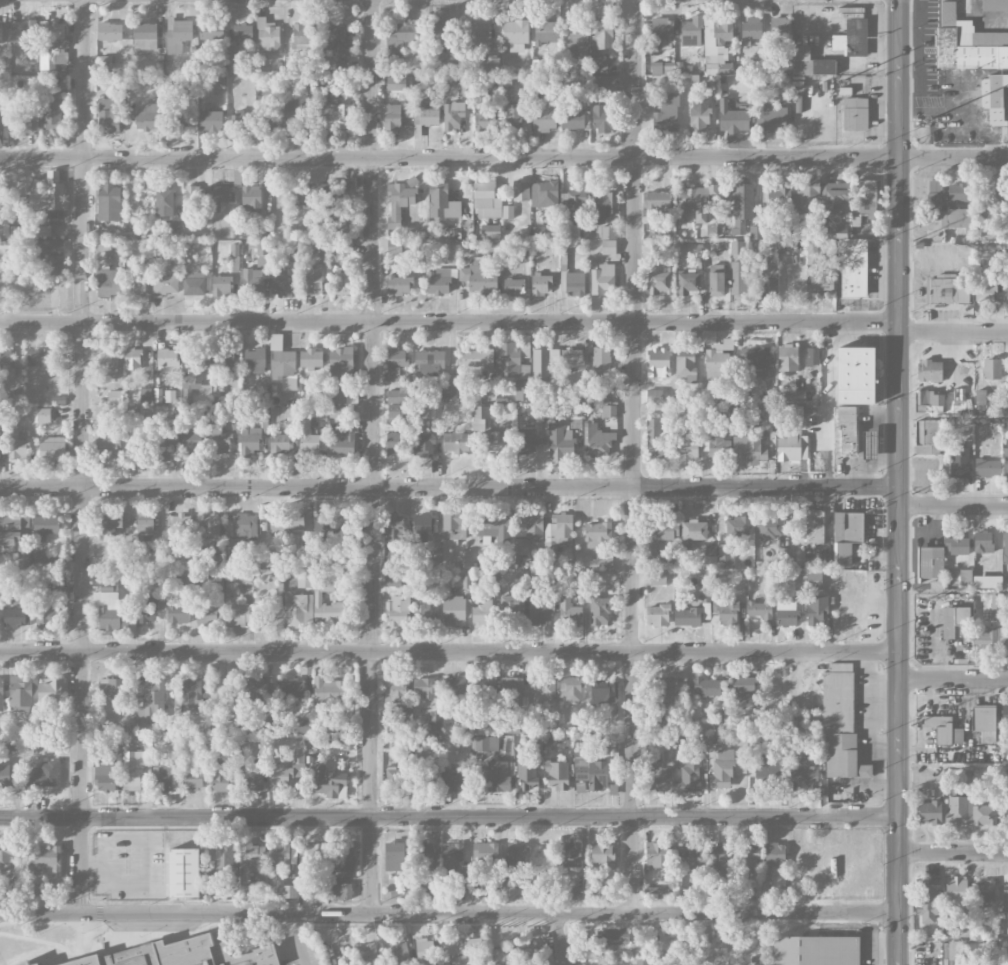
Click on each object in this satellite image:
building: (995, 6)
building: (545, 26)
building: (780, 27)
building: (211, 30)
building: (751, 30)
building: (0, 31)
building: (109, 31)
building: (242, 32)
building: (691, 32)
building: (479, 33)
building: (661, 33)
building: (178, 34)
building: (515, 34)
building: (602, 35)
building: (21, 36)
building: (144, 36)
building: (267, 36)
building: (302, 36)
building: (332, 37)
building: (442, 37)
building: (852, 38)
building: (400, 39)
building: (578, 39)
building: (967, 43)
building: (53, 45)
building: (718, 46)
building: (800, 53)
building: (4, 63)
building: (104, 64)
building: (490, 64)
building: (600, 64)
building: (538, 66)
building: (823, 67)
building: (662, 68)
building: (396, 84)
building: (606, 86)
building: (993, 97)
building: (109, 113)
building: (283, 113)
building: (545, 114)
building: (666, 114)
building: (855, 114)
building: (52, 115)
building: (452, 115)
building: (0, 116)
building: (334, 116)
building: (514, 116)
building: (145, 117)
building: (773, 117)
building: (392, 118)
building: (424, 118)
building: (180, 119)
building: (572, 119)
building: (602, 119)
building: (698, 119)
building: (29, 120)
building: (243, 120)
building: (210, 121)
building: (734, 121)
building: (484, 122)
road: (504, 156)
building: (958, 189)
building: (520, 191)
building: (805, 192)
building: (48, 194)
building: (223, 194)
building: (544, 194)
building: (314, 195)
building: (1001, 195)
building: (195, 196)
building: (0, 197)
building: (250, 198)
building: (778, 198)
building: (837, 199)
building: (696, 200)
building: (485, 201)
building: (163, 202)
building: (398, 202)
building: (442, 202)
building: (656, 202)
building: (108, 203)
building: (603, 206)
building: (742, 207)
building: (572, 210)
building: (507, 212)
building: (957, 219)
building: (344, 225)
building: (40, 231)
building: (489, 231)
building: (783, 231)
building: (540, 232)
building: (608, 232)
building: (755, 233)
power tower: (912, 241)
building: (9, 245)
road: (954, 246)
building: (394, 247)
building: (608, 247)
building: (737, 247)
building: (234, 250)
building: (50, 256)
building: (262, 257)
building: (715, 268)
building: (853, 268)
building: (478, 276)
building: (313, 279)
building: (602, 279)
building: (439, 280)
building: (107, 281)
building: (252, 281)
building: (280, 282)
building: (659, 282)
building: (769, 282)
building: (821, 282)
building: (1006, 282)
building: (194, 283)
building: (687, 283)
building: (343, 284)
building: (540, 284)
building: (574, 284)
building: (716, 284)
building: (137, 285)
building: (165, 285)
building: (399, 285)
building: (221, 286)
building: (513, 287)
building: (738, 287)
building: (945, 290)
building: (985, 290)
road: (449, 321)
road: (953, 333)
building: (511, 356)
building: (812, 356)
building: (38, 357)
building: (167, 357)
building: (476, 357)
building: (571, 357)
building: (788, 358)
building: (132, 359)
building: (281, 359)
building: (310, 359)
building: (255, 360)
building: (222, 361)
building: (543, 361)
building: (601, 361)
building: (717, 361)
building: (6, 362)
building: (757, 362)
building: (395, 363)
building: (429, 363)
building: (658, 363)
building: (108, 364)
building: (341, 367)
building: (686, 369)
building: (991, 369)
building: (929, 371)
building: (195, 372)
building: (524, 372)
building: (855, 375)
building: (449, 389)
building: (522, 390)
building: (145, 395)
building: (340, 395)
building: (959, 395)
building: (187, 396)
building: (393, 396)
building: (608, 396)
building: (653, 396)
building: (795, 396)
building: (15, 397)
building: (985, 401)
building: (928, 402)
building: (1006, 407)
building: (335, 411)
building: (608, 411)
building: (431, 412)
building: (538, 412)
building: (103, 414)
building: (397, 414)
building: (797, 414)
building: (204, 416)
building: (482, 416)
building: (575, 416)
building: (43, 417)
building: (292, 417)
road: (953, 419)
building: (707, 426)
building: (847, 429)
building: (927, 437)
building: (308, 439)
building: (655, 439)
building: (191, 440)
building: (597, 440)
building: (220, 441)
building: (278, 441)
building: (494, 441)
building: (526, 441)
building: (249, 442)
building: (455, 442)
building: (393, 443)
building: (342, 444)
building: (561, 444)
building: (17, 445)
building: (167, 446)
building: (423, 446)
building: (689, 446)
building: (719, 446)
building: (870, 446)
building: (792, 448)
building: (51, 449)
building: (748, 450)
road: (82, 456)
road: (633, 456)
road: (371, 457)
building: (959, 462)
building: (1005, 464)
building: (987, 468)
road: (899, 482)
road: (449, 486)
power tower: (912, 494)
road: (953, 507)
building: (114, 521)
building: (289, 522)
building: (46, 525)
building: (144, 525)
building: (211, 526)
building: (178, 527)
building: (393, 527)
building: (424, 527)
building: (454, 527)
building: (769, 527)
building: (814, 527)
building: (848, 527)
building: (495, 528)
building: (9, 530)
building: (527, 533)
building: (557, 533)
building: (597, 534)
building: (660, 534)
building: (324, 540)
building: (731, 540)
building: (982, 542)
building: (956, 545)
building: (1005, 549)
building: (22, 554)
building: (783, 555)
building: (842, 555)
building: (710, 556)
building: (434, 557)
building: (153, 559)
building: (464, 559)
building: (104, 562)
building: (600, 562)
building: (930, 562)
building: (50, 566)
building: (655, 571)
building: (244, 577)
building: (392, 577)
building: (965, 578)
building: (304, 579)
building: (814, 580)
building: (188, 581)
building: (987, 582)
building: (447, 588)
building: (705, 589)
road: (953, 593)
building: (512, 605)
building: (329, 606)
building: (995, 606)
building: (148, 609)
building: (299, 609)
building: (816, 609)
building: (177, 610)
building: (112, 611)
building: (455, 611)
building: (599, 611)
building: (760, 611)
building: (424, 612)
building: (541, 612)
building: (569, 612)
building: (727, 612)
building: (483, 613)
building: (786, 613)
building: (206, 614)
building: (236, 614)
building: (396, 614)
building: (657, 615)
building: (14, 617)
building: (687, 617)
building: (954, 620)
road: (449, 652)
road: (953, 681)
building: (706, 686)
building: (112, 687)
building: (423, 687)
building: (290, 688)
building: (743, 688)
building: (571, 689)
building: (50, 691)
building: (255, 691)
building: (511, 691)
building: (665, 691)
building: (19, 692)
building: (191, 692)
building: (601, 692)
building: (543, 693)
building: (1, 695)
building: (395, 695)
parking lot: (866, 698)
building: (327, 702)
building: (222, 706)
building: (151, 708)
building: (1005, 715)
building: (50, 721)
building: (434, 721)
building: (840, 722)
building: (984, 722)
building: (656, 724)
building: (696, 725)
power tower: (910, 725)
parking lot: (962, 725)
parking lot: (921, 727)
building: (305, 728)
building: (939, 728)
building: (486, 744)
building: (534, 744)
building: (232, 746)
road: (953, 767)
building: (424, 768)
building: (135, 769)
building: (722, 770)
building: (288, 772)
building: (592, 772)
building: (557, 774)
building: (768, 774)
building: (5, 775)
building: (42, 775)
building: (806, 775)
building: (104, 776)
building: (497, 776)
building: (527, 776)
building: (687, 776)
building: (220, 777)
building: (251, 777)
building: (659, 777)
building: (394, 778)
building: (162, 779)
building: (192, 780)
building: (454, 781)
building: (329, 783)
building: (613, 790)
building: (956, 810)
building: (929, 812)
building: (984, 814)
road: (448, 815)
building: (486, 853)
road: (953, 853)
building: (279, 854)
building: (570, 854)
building: (775, 854)
building: (254, 855)
building: (602, 855)
building: (655, 855)
building: (516, 856)
building: (313, 857)
building: (393, 857)
building: (720, 857)
building: (5, 859)
building: (689, 859)
building: (747, 859)
building: (45, 860)
building: (346, 861)
building: (425, 861)
building: (225, 862)
building: (332, 863)
building: (455, 863)
building: (182, 873)
building: (507, 880)
building: (257, 886)
building: (290, 888)
building: (478, 888)
building: (736, 889)
building: (340, 891)
building: (984, 891)
building: (312, 892)
building: (606, 892)
building: (579, 893)
building: (656, 893)
building: (955, 894)
building: (1005, 897)
building: (927, 900)
road: (449, 913)
building: (960, 930)
building: (703, 933)
building: (612, 936)
road: (297, 939)
road: (558, 939)
building: (463, 945)
power tower: (910, 948)
building: (424, 950)
building: (815, 950)
building: (368, 952)
building: (524, 952)
building: (187, 953)
building: (400, 954)
building: (642, 962)
building: (26, 964)
building: (36, 964)

